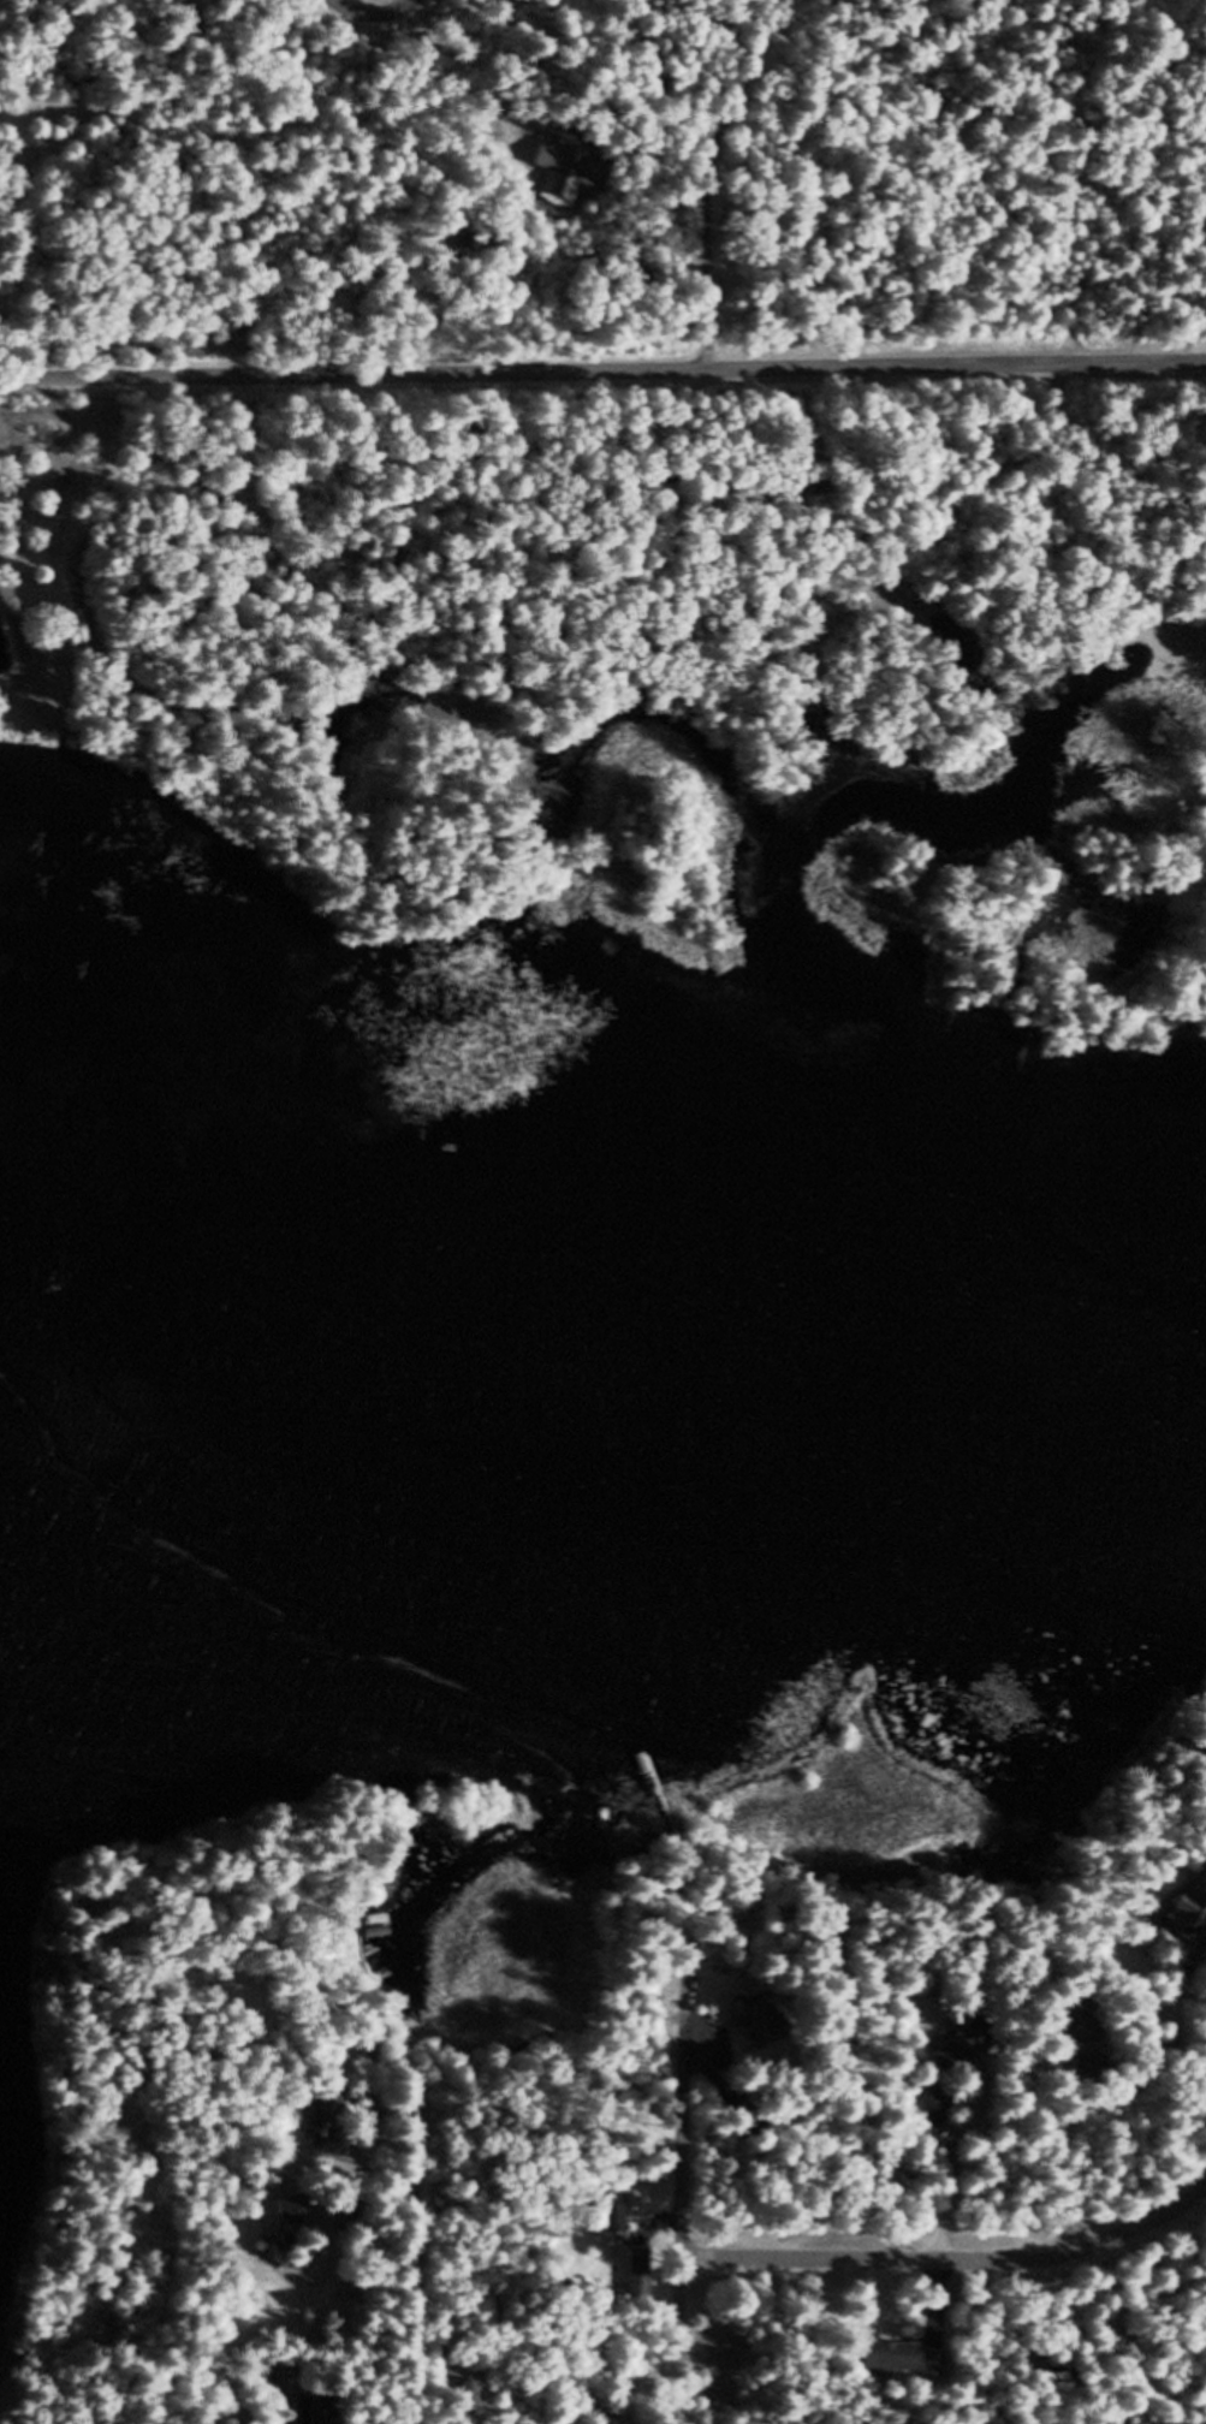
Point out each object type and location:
road: (368, 13)
road: (602, 375)
building: (1189, 1919)
building: (759, 2032)
building: (1075, 2033)
building: (967, 2054)
building: (937, 2116)
building: (322, 2125)
road: (685, 2161)
road: (952, 2270)
building: (641, 2274)
road: (416, 2348)
building: (893, 2364)
building: (937, 2371)
building: (316, 2414)

